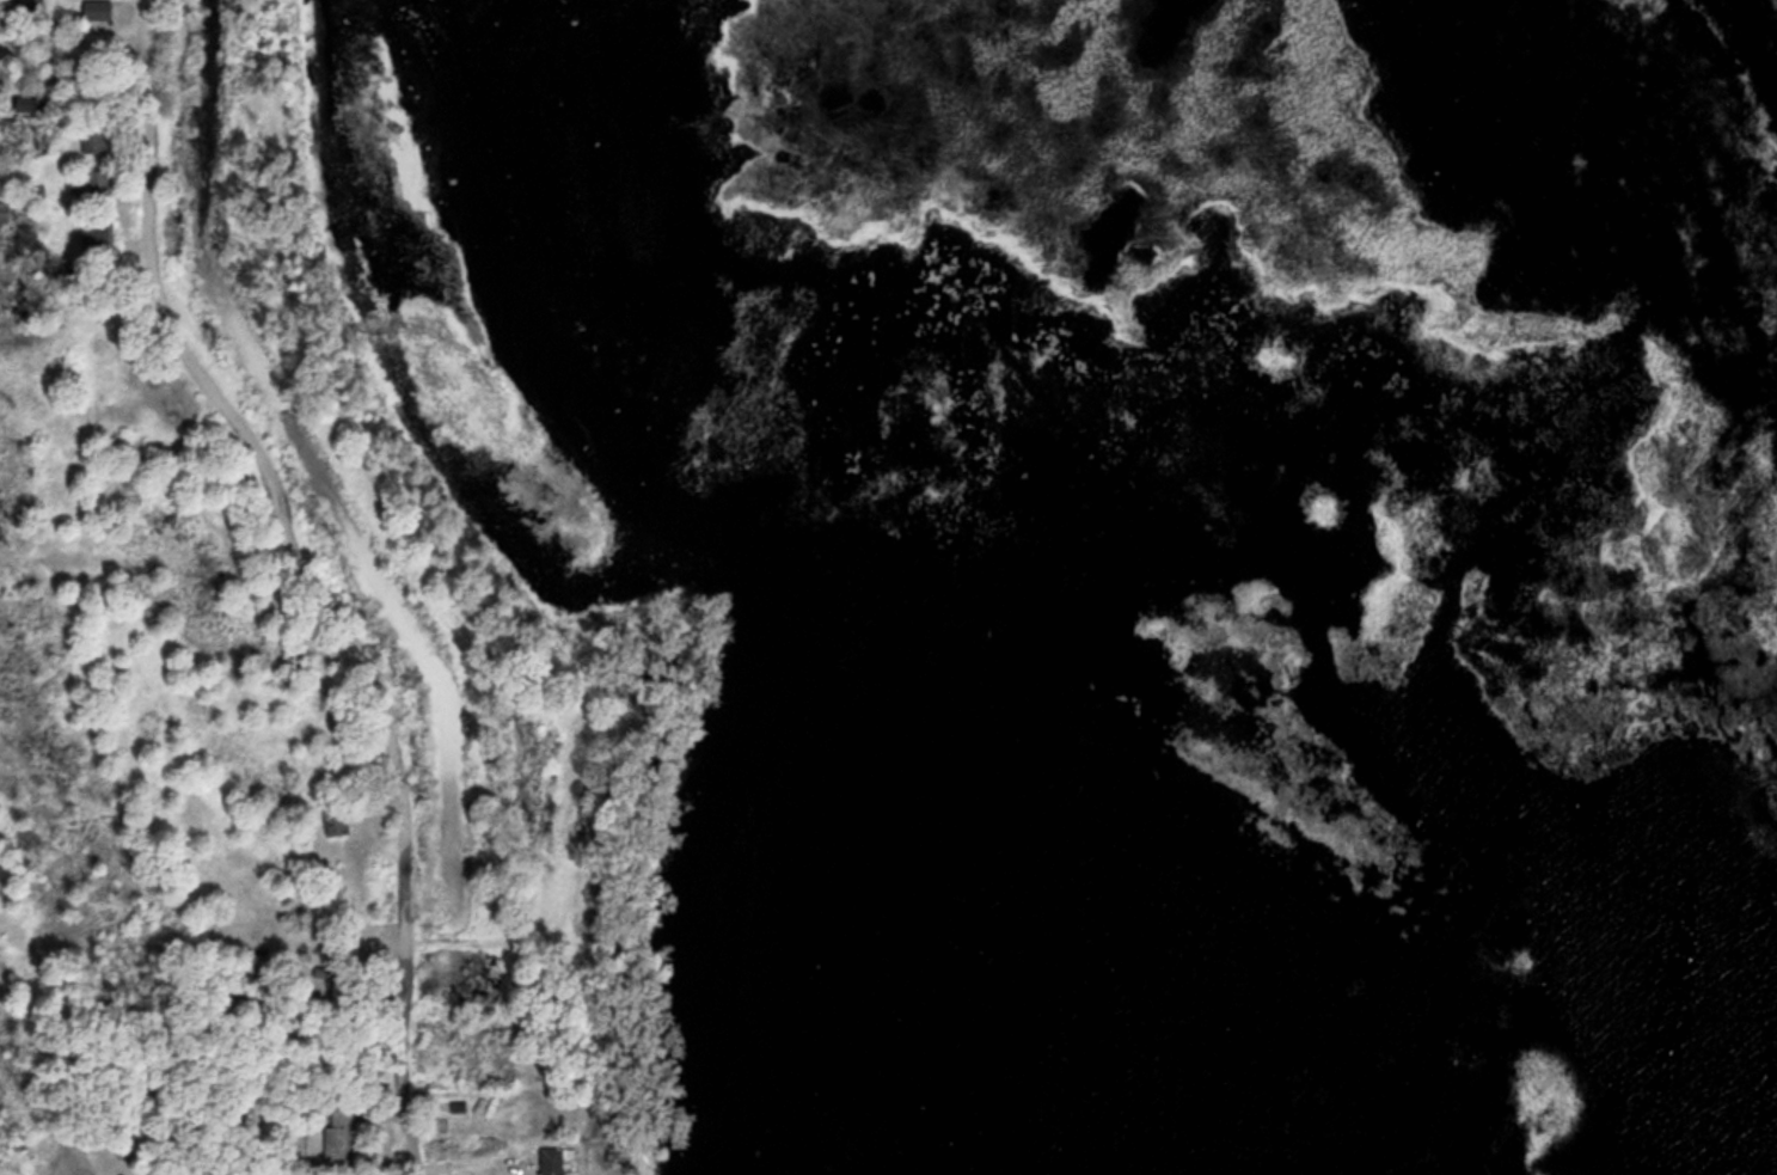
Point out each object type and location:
building: (94, 10)
building: (22, 104)
building: (93, 135)
building: (96, 180)
building: (4, 212)
building: (90, 234)
road: (313, 574)
road: (588, 717)
building: (333, 818)
road: (488, 947)
building: (336, 1134)
building: (549, 1159)

